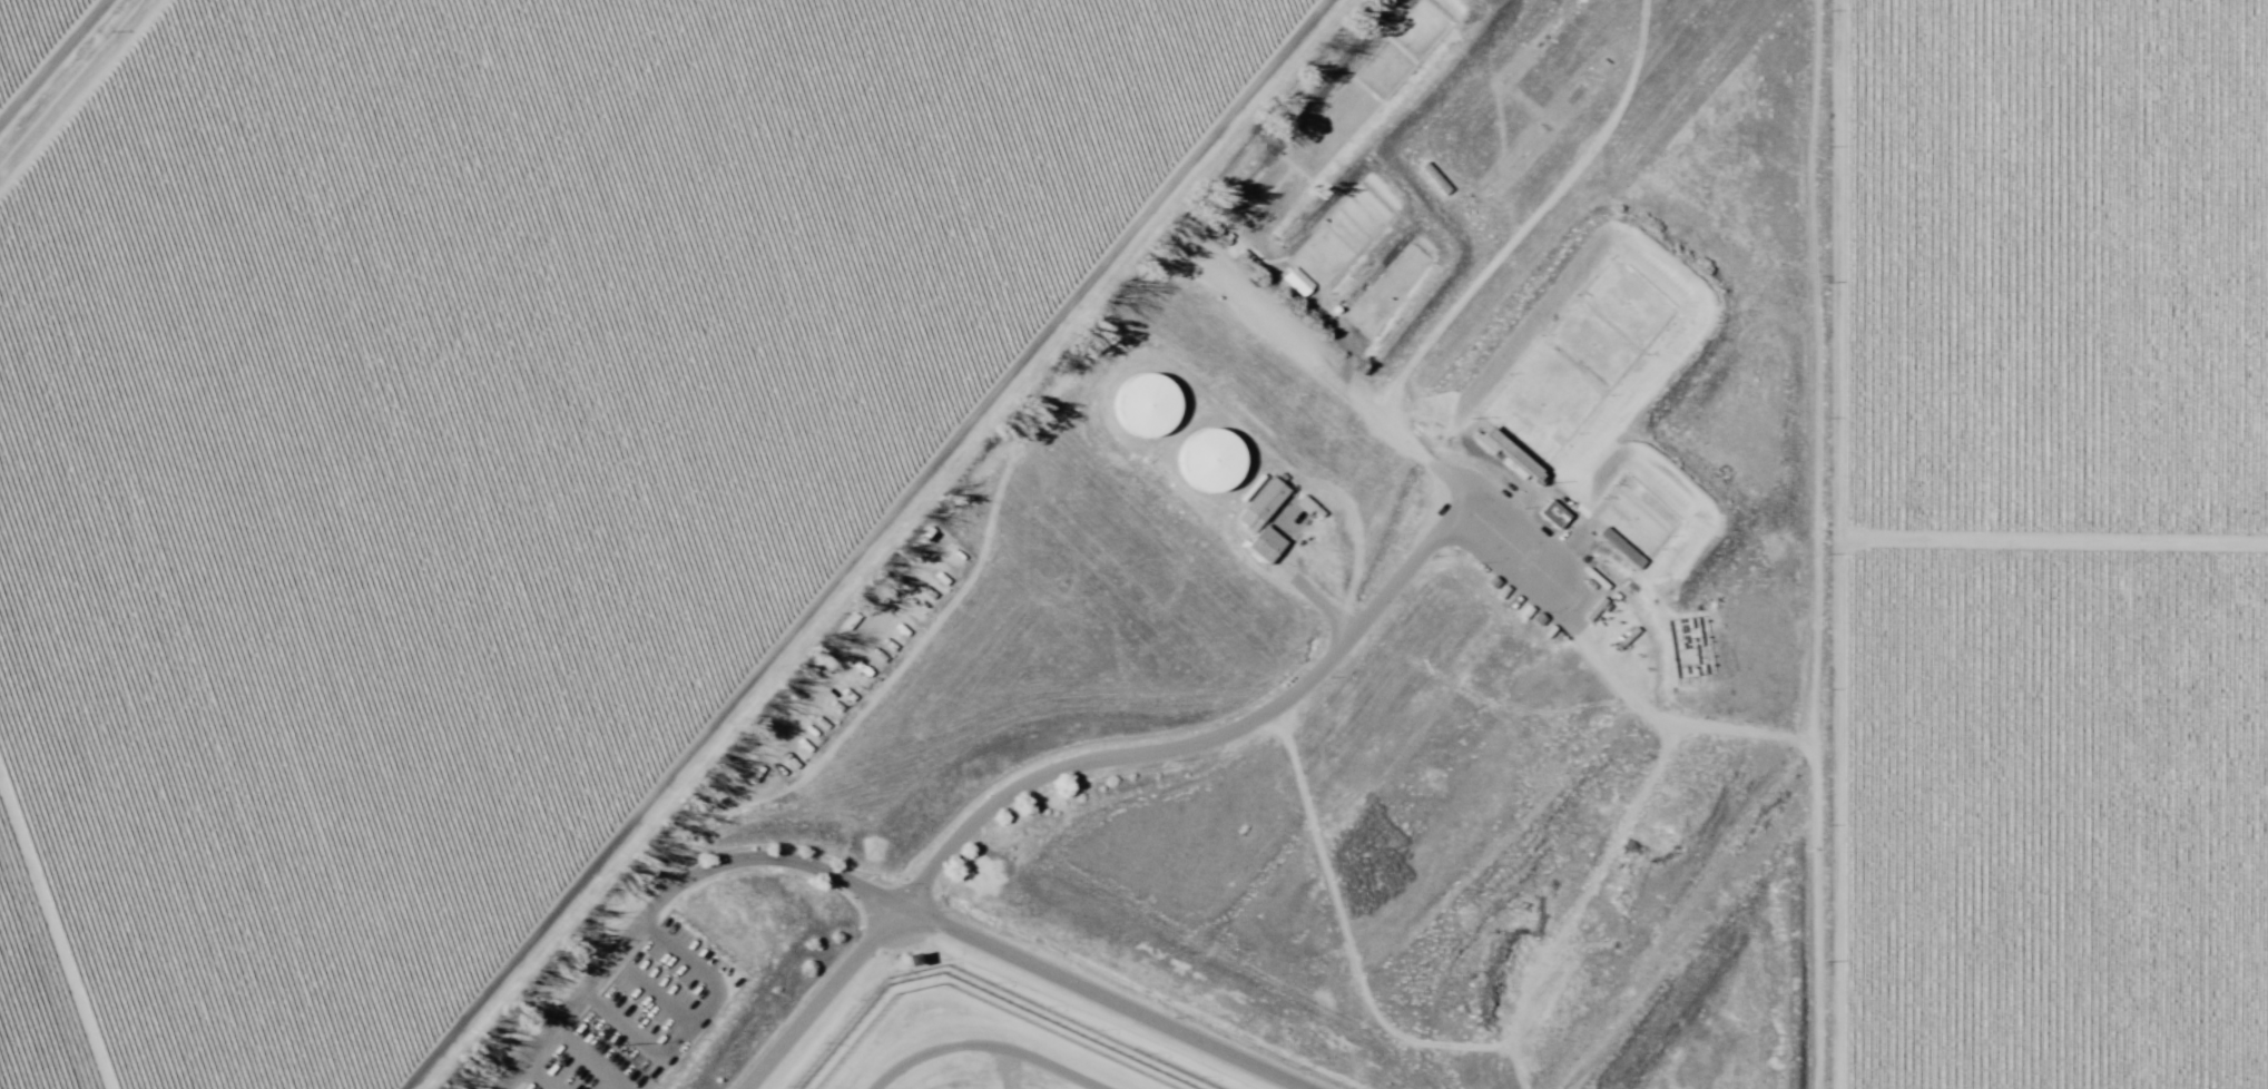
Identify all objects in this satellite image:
building: (1435, 178)
building: (1145, 405)
crop: (462, 440)
building: (1508, 455)
building: (1210, 461)
building: (1266, 500)
building: (1552, 514)
road: (874, 541)
building: (1268, 541)
road: (1812, 544)
crop: (2049, 544)
building: (1621, 548)
building: (1482, 585)
road: (1094, 758)
road: (996, 949)
building: (907, 958)
road: (588, 982)
road: (651, 989)
road: (711, 997)
wastewater plant: (1707, 1012)
road: (622, 1023)
road: (588, 1058)
road: (537, 1076)

